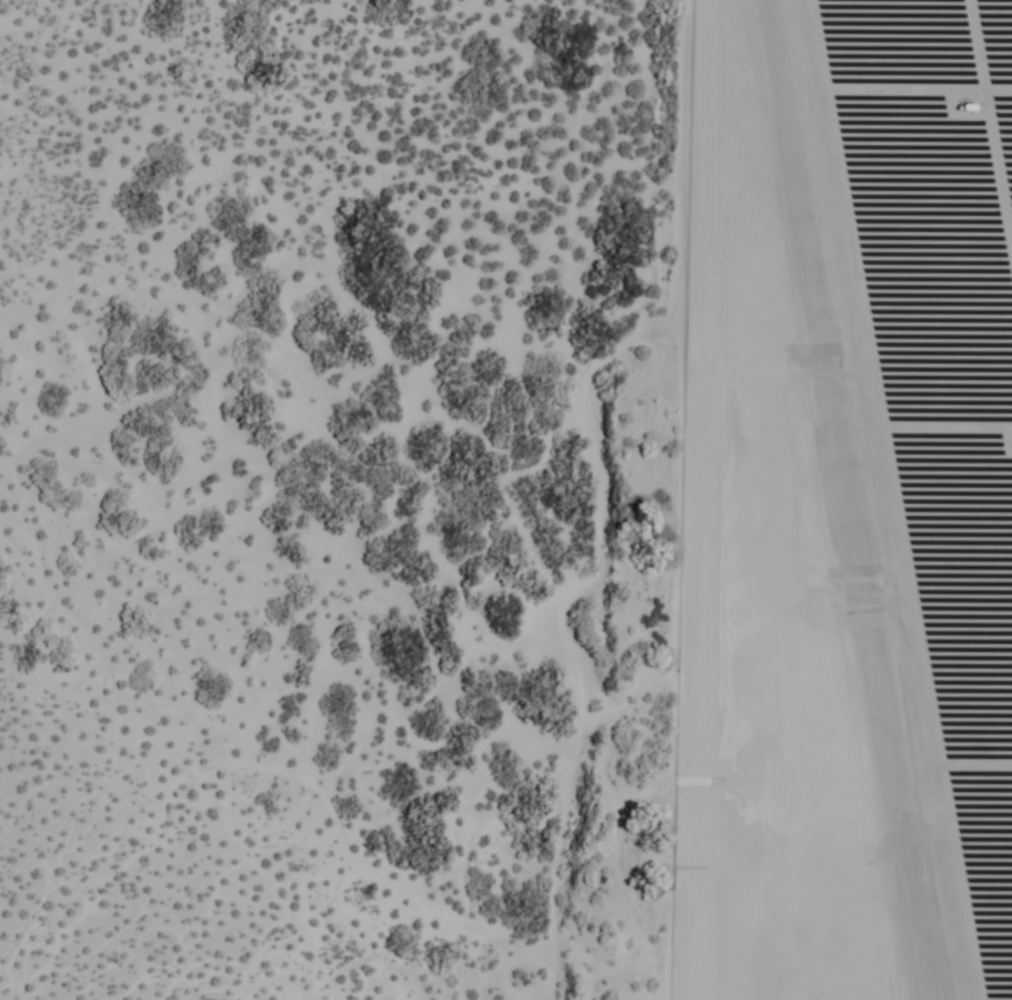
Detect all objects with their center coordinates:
solar farm: (849, 504)

